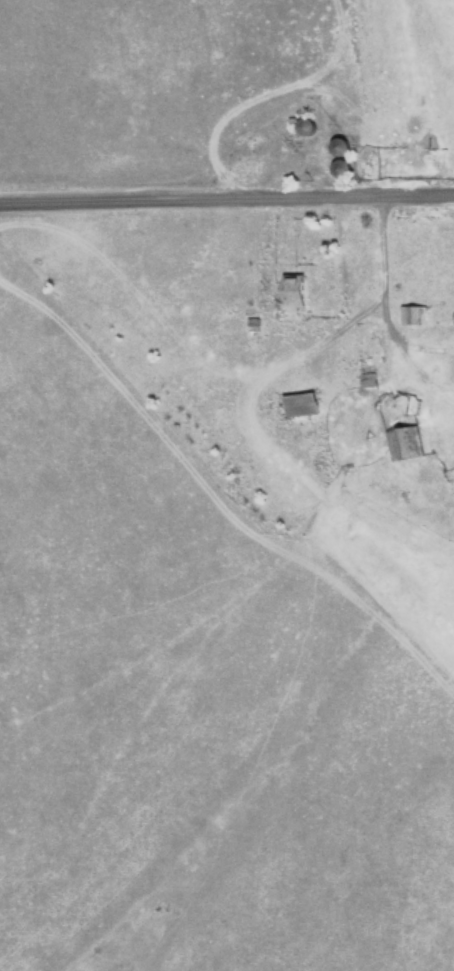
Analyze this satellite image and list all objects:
building: (309, 127)
silo: (309, 127)
building: (345, 148)
silo: (345, 148)
building: (345, 172)
silo: (345, 172)
road: (226, 197)
road: (380, 255)
building: (299, 294)
building: (409, 317)
building: (304, 406)
building: (399, 446)

